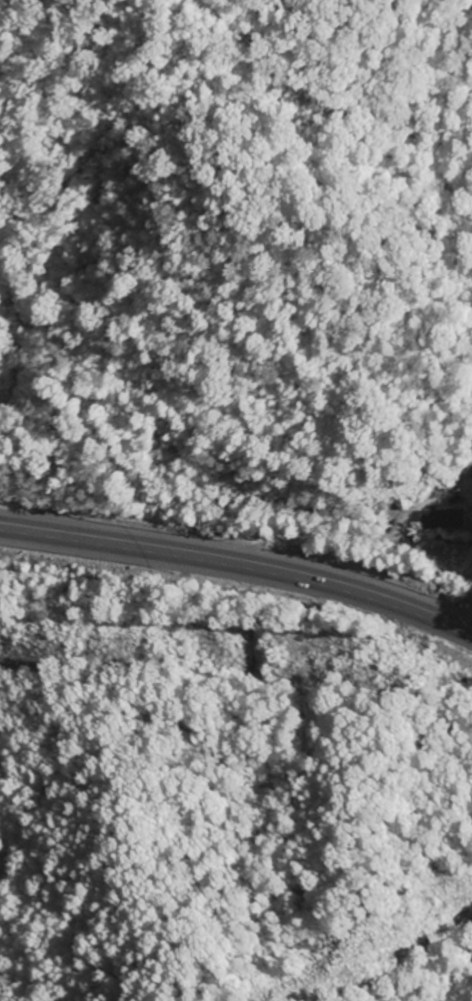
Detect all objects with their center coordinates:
building: (469, 517)
building: (440, 521)
road: (352, 539)
road: (240, 560)

